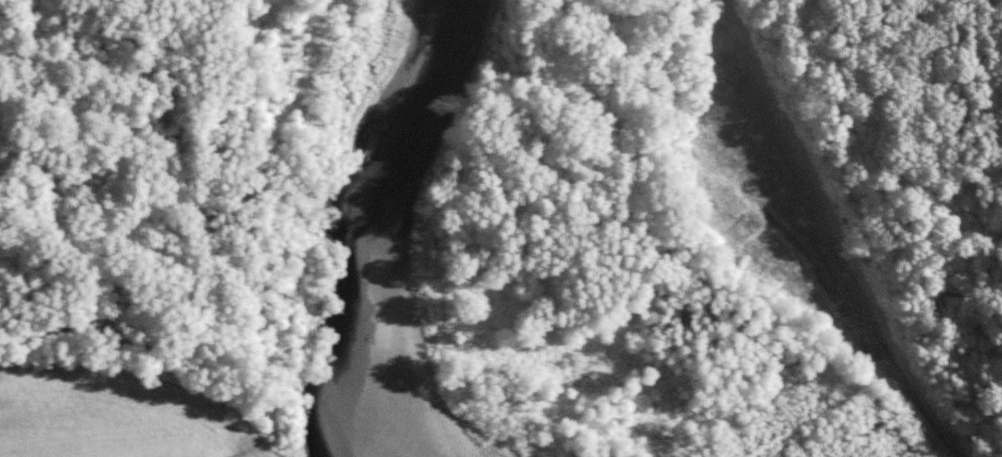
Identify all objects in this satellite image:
river: (382, 232)
river: (823, 417)

